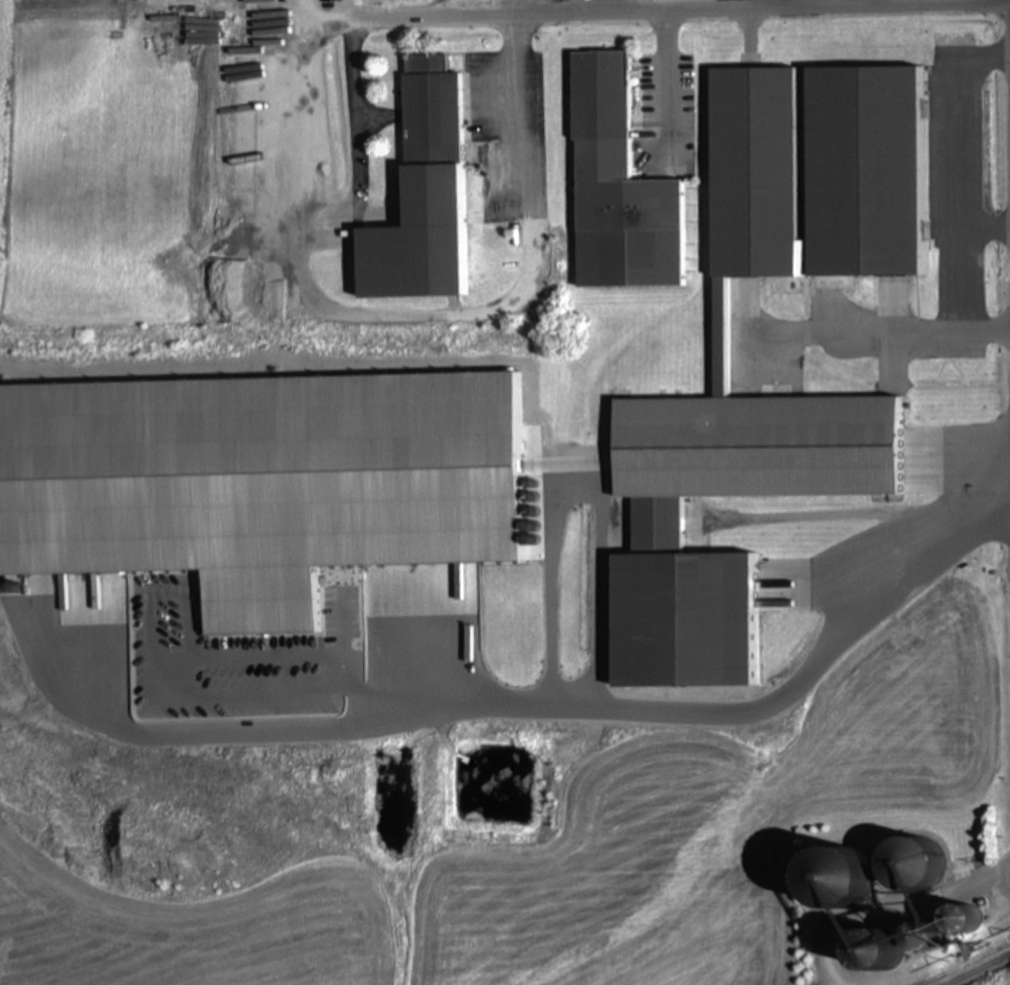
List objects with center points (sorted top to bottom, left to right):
road: (641, 3)
road: (523, 5)
road: (606, 7)
road: (665, 78)
road: (971, 139)
building: (618, 189)
building: (420, 194)
road: (966, 296)
road: (402, 313)
building: (719, 336)
road: (551, 703)
railway: (966, 964)
railway: (976, 969)

